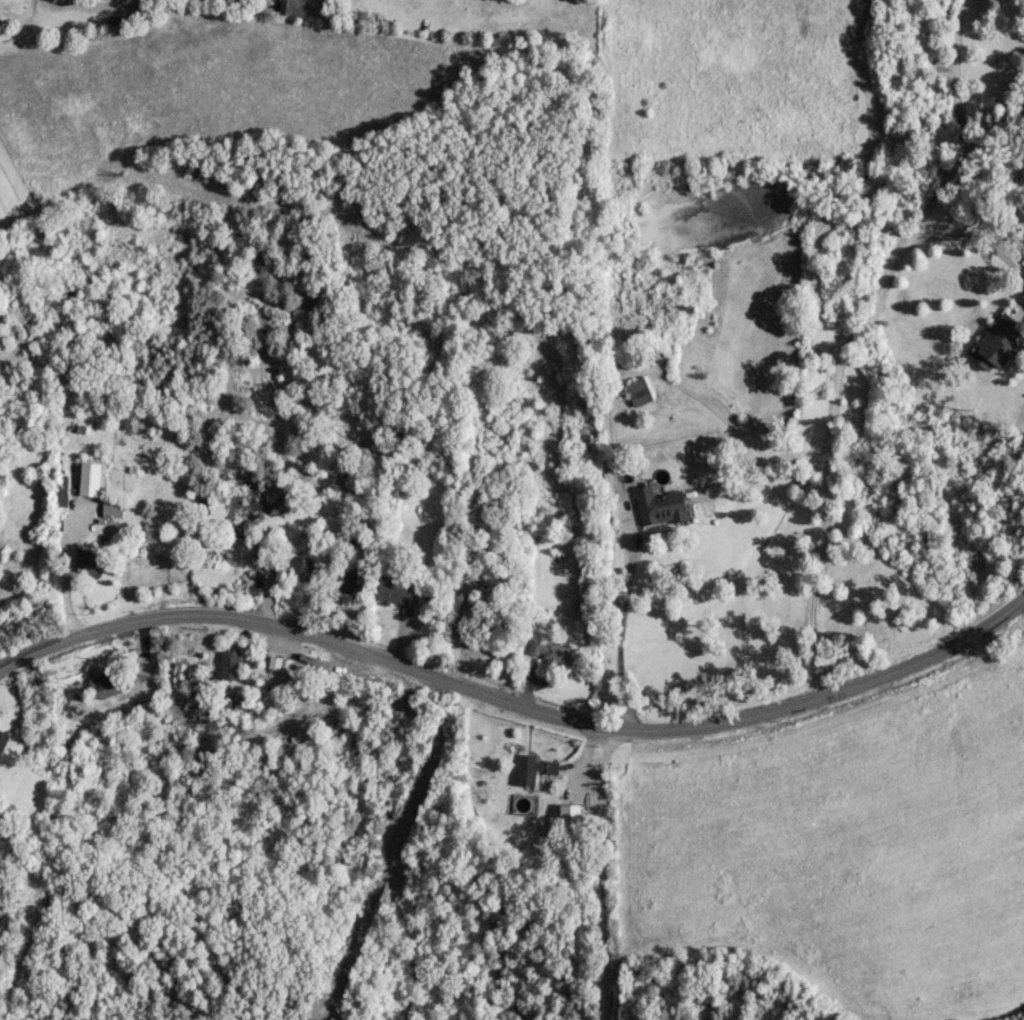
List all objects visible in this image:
building: (293, 7)
road: (34, 28)
road: (972, 243)
road: (856, 336)
building: (996, 340)
building: (637, 390)
road: (609, 435)
building: (60, 489)
building: (662, 507)
building: (110, 508)
building: (213, 512)
building: (84, 560)
building: (293, 567)
building: (349, 581)
building: (390, 590)
building: (584, 591)
building: (479, 626)
building: (550, 650)
building: (226, 664)
building: (104, 687)
road: (515, 701)
building: (531, 767)
building: (567, 818)
road: (602, 871)

